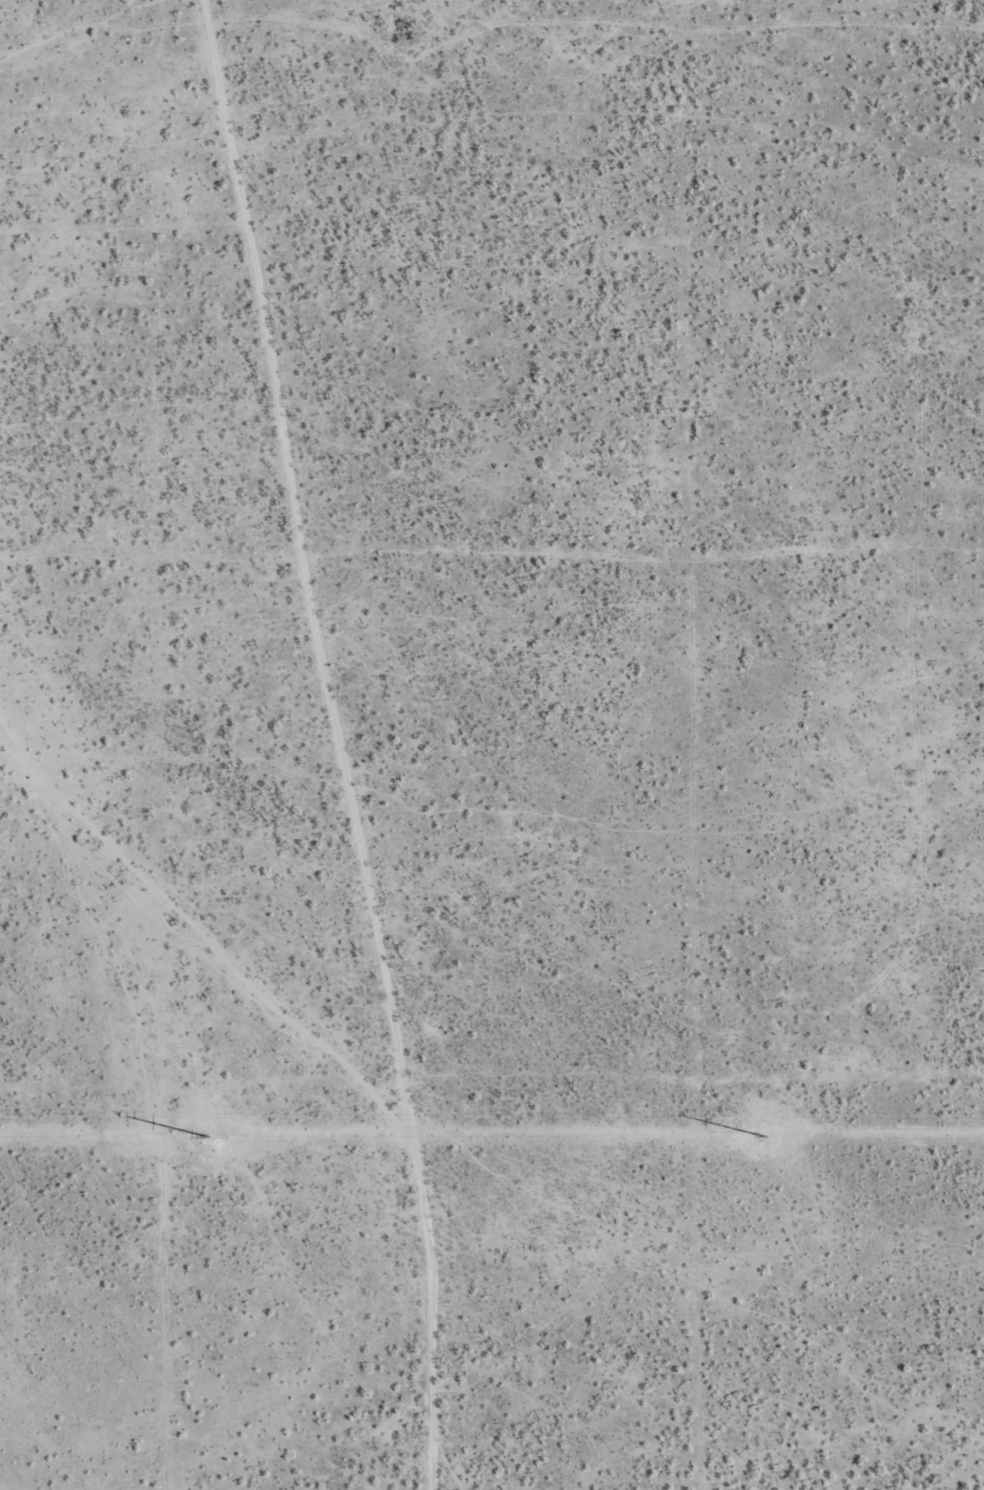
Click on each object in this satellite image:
road: (381, 737)
road: (209, 914)

